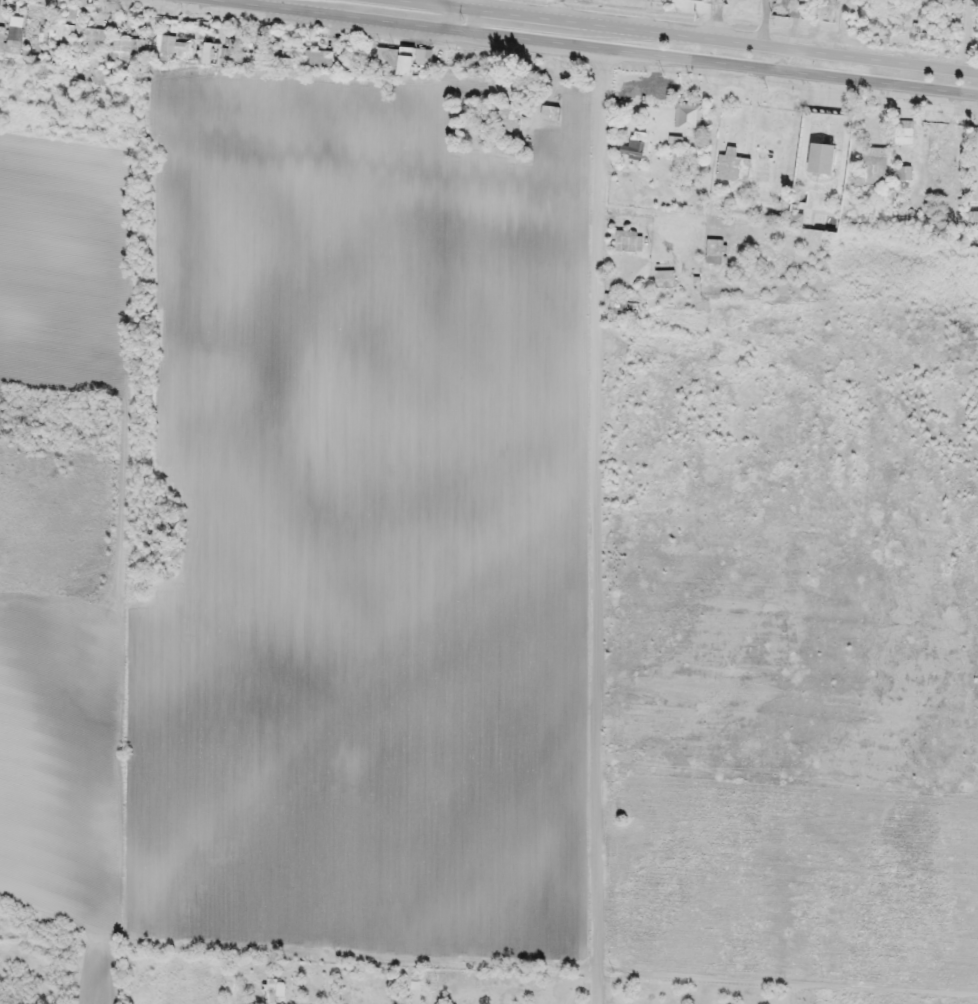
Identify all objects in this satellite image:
building: (906, 134)

